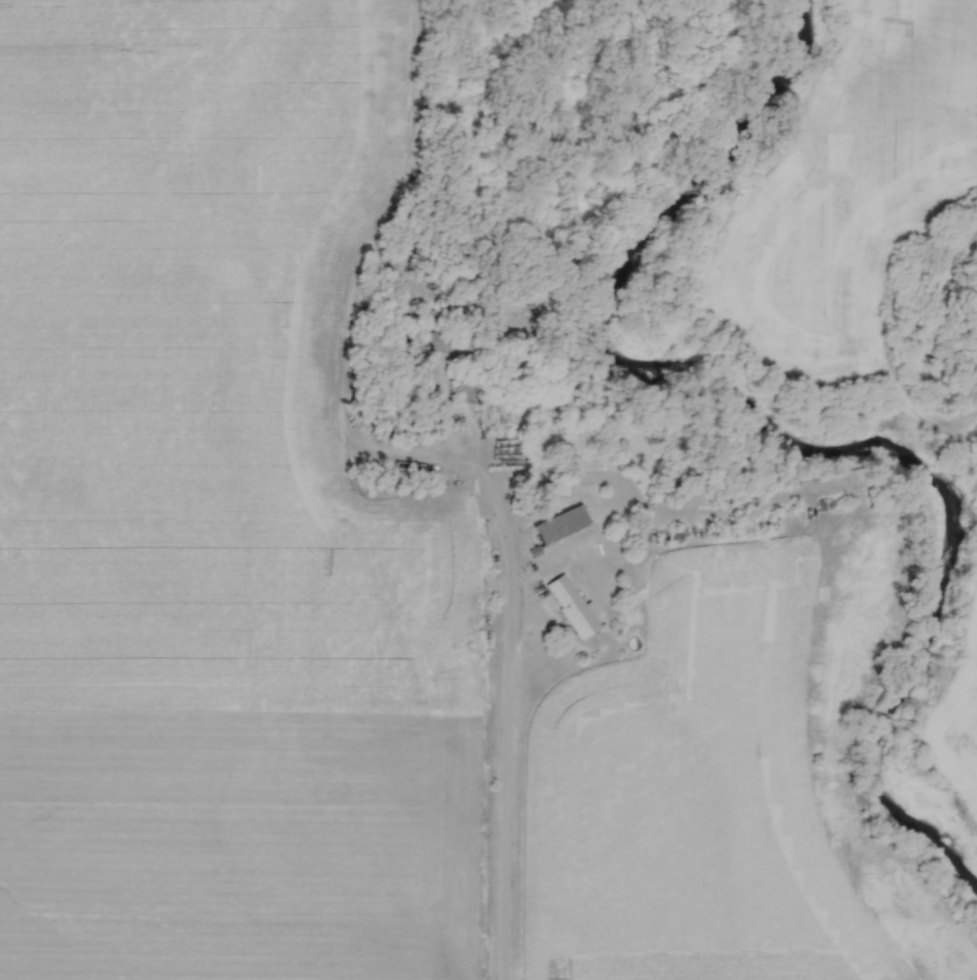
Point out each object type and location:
building: (430, 336)
building: (466, 392)
river: (778, 440)
road: (498, 509)
building: (560, 526)
building: (571, 608)
crop: (963, 730)
road: (507, 812)

